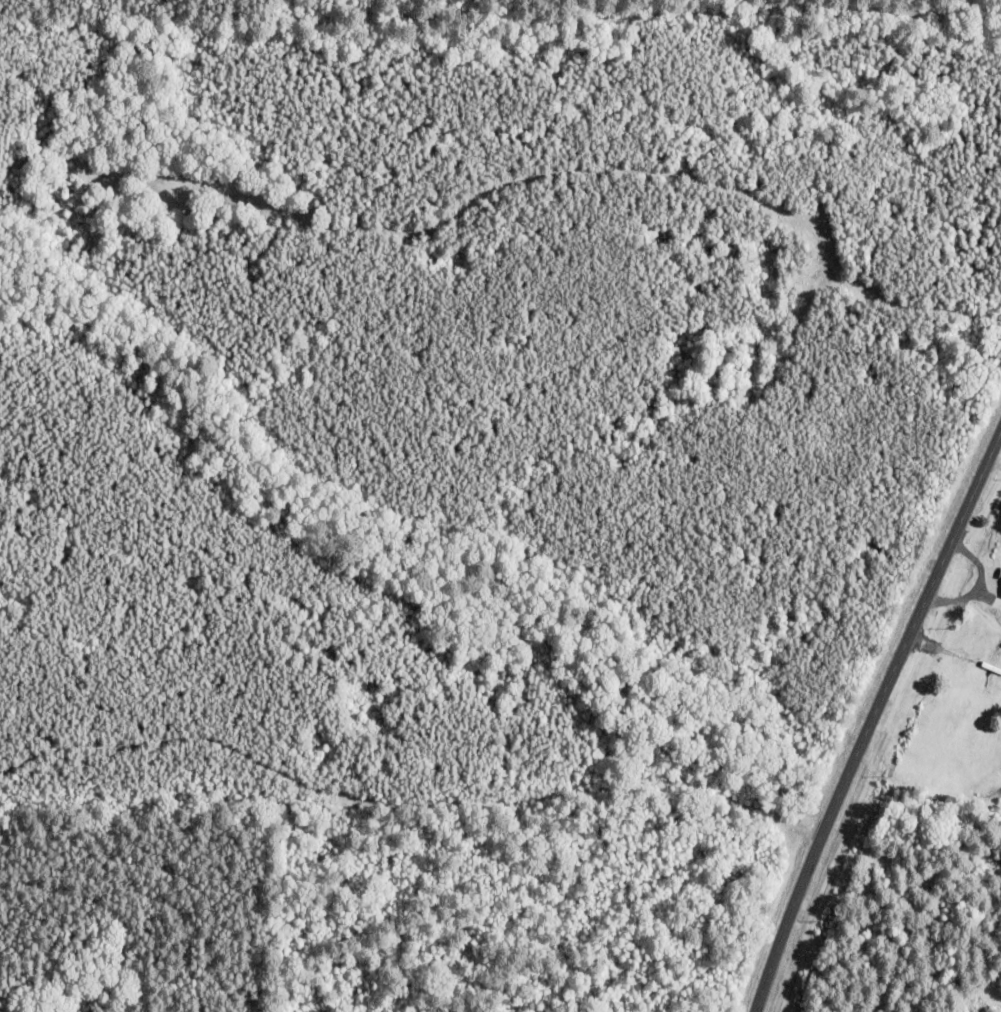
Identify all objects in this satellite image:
road: (994, 456)
road: (870, 715)

